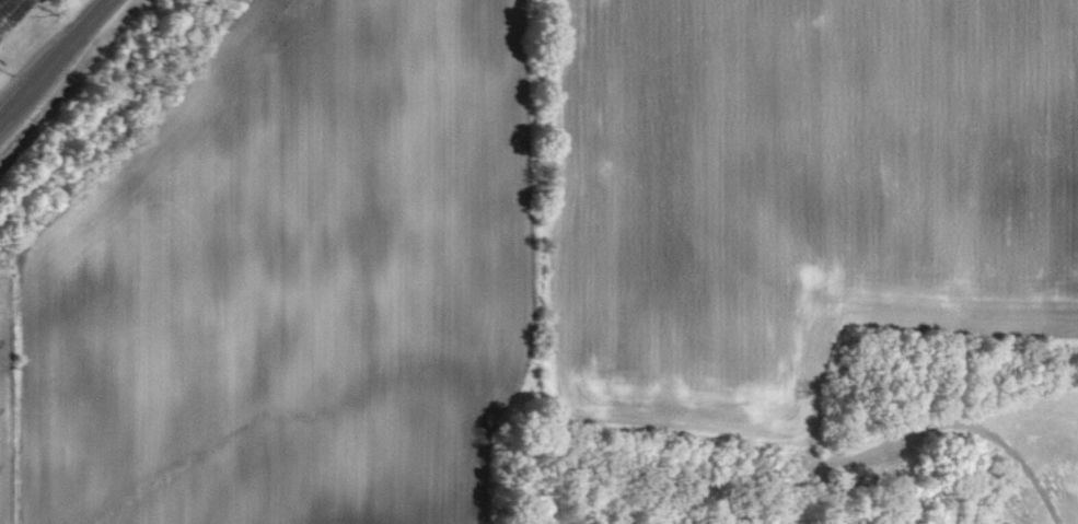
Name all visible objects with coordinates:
building: (12, 14)
road: (54, 59)

